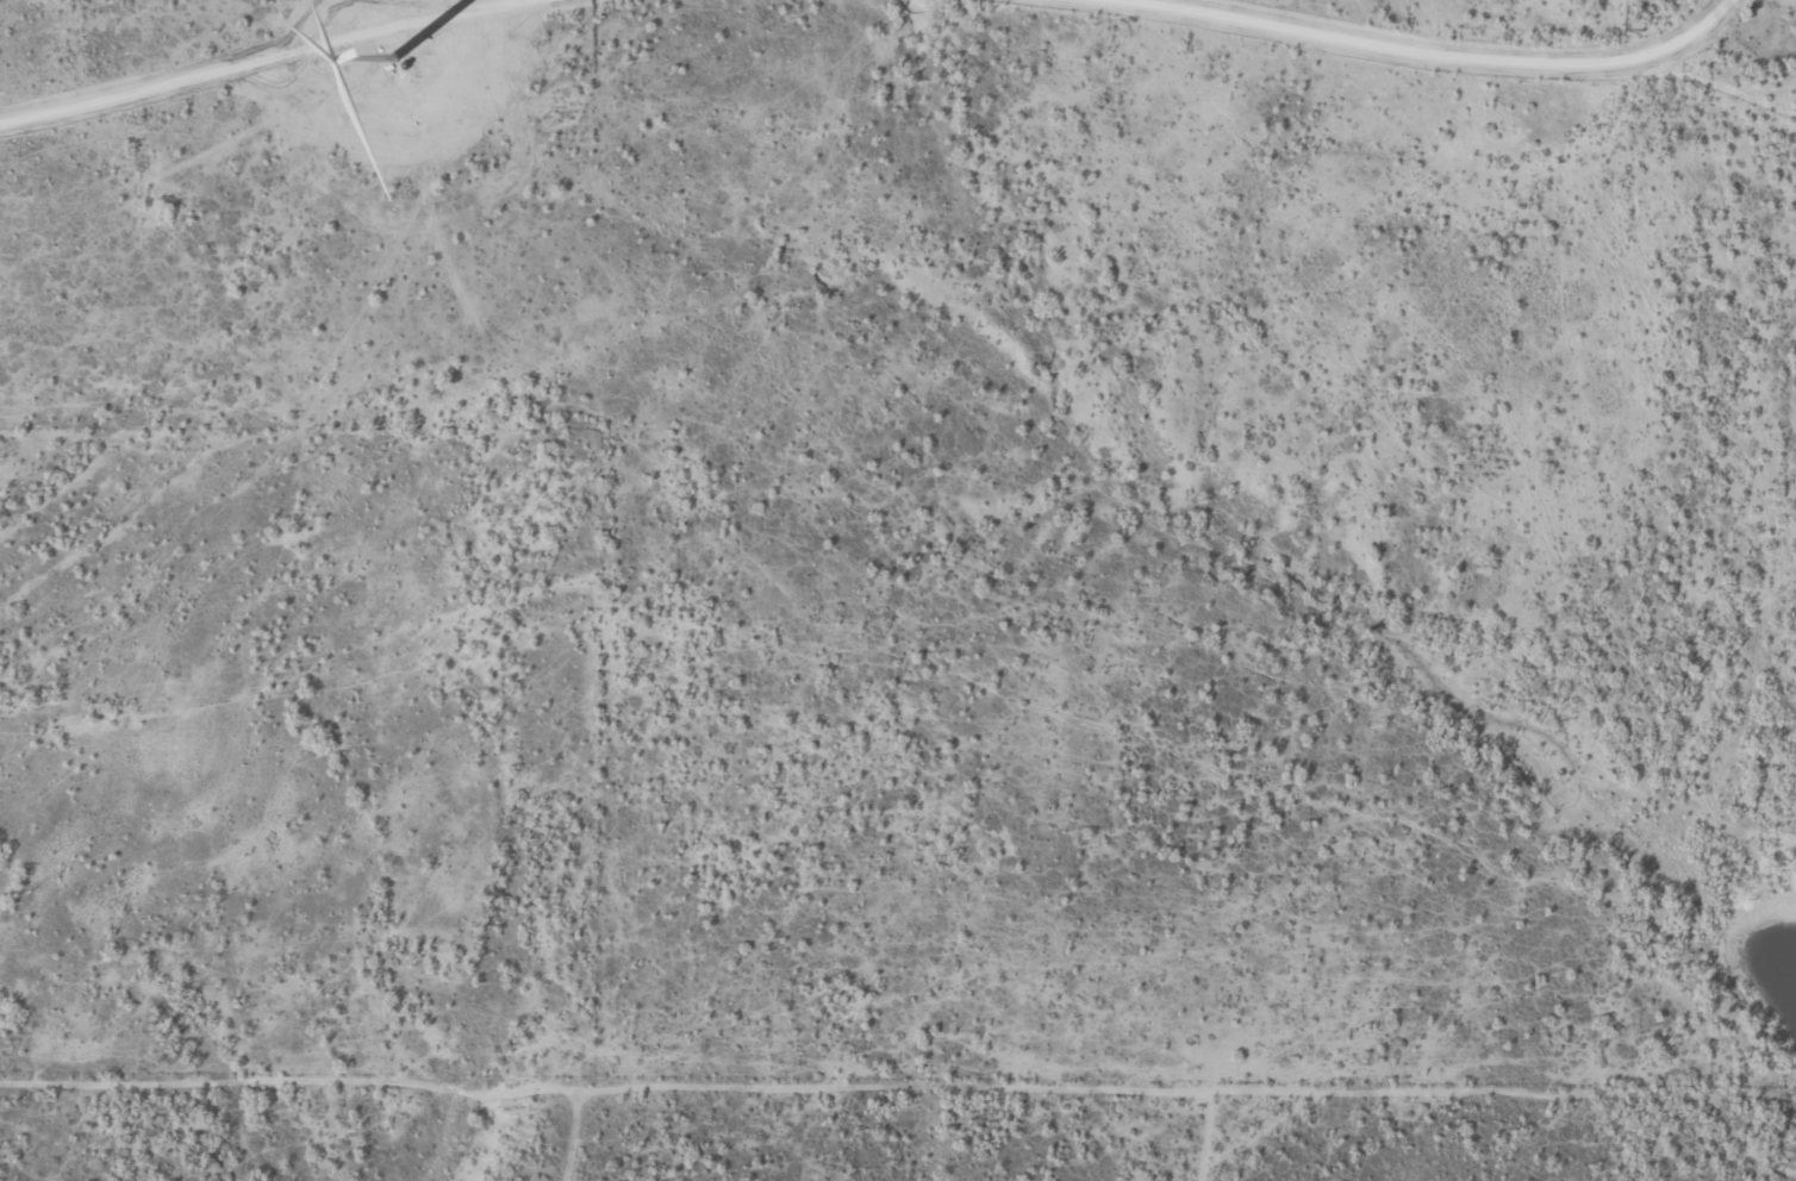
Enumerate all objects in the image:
road: (900, 17)
wind turbine: (393, 50)

